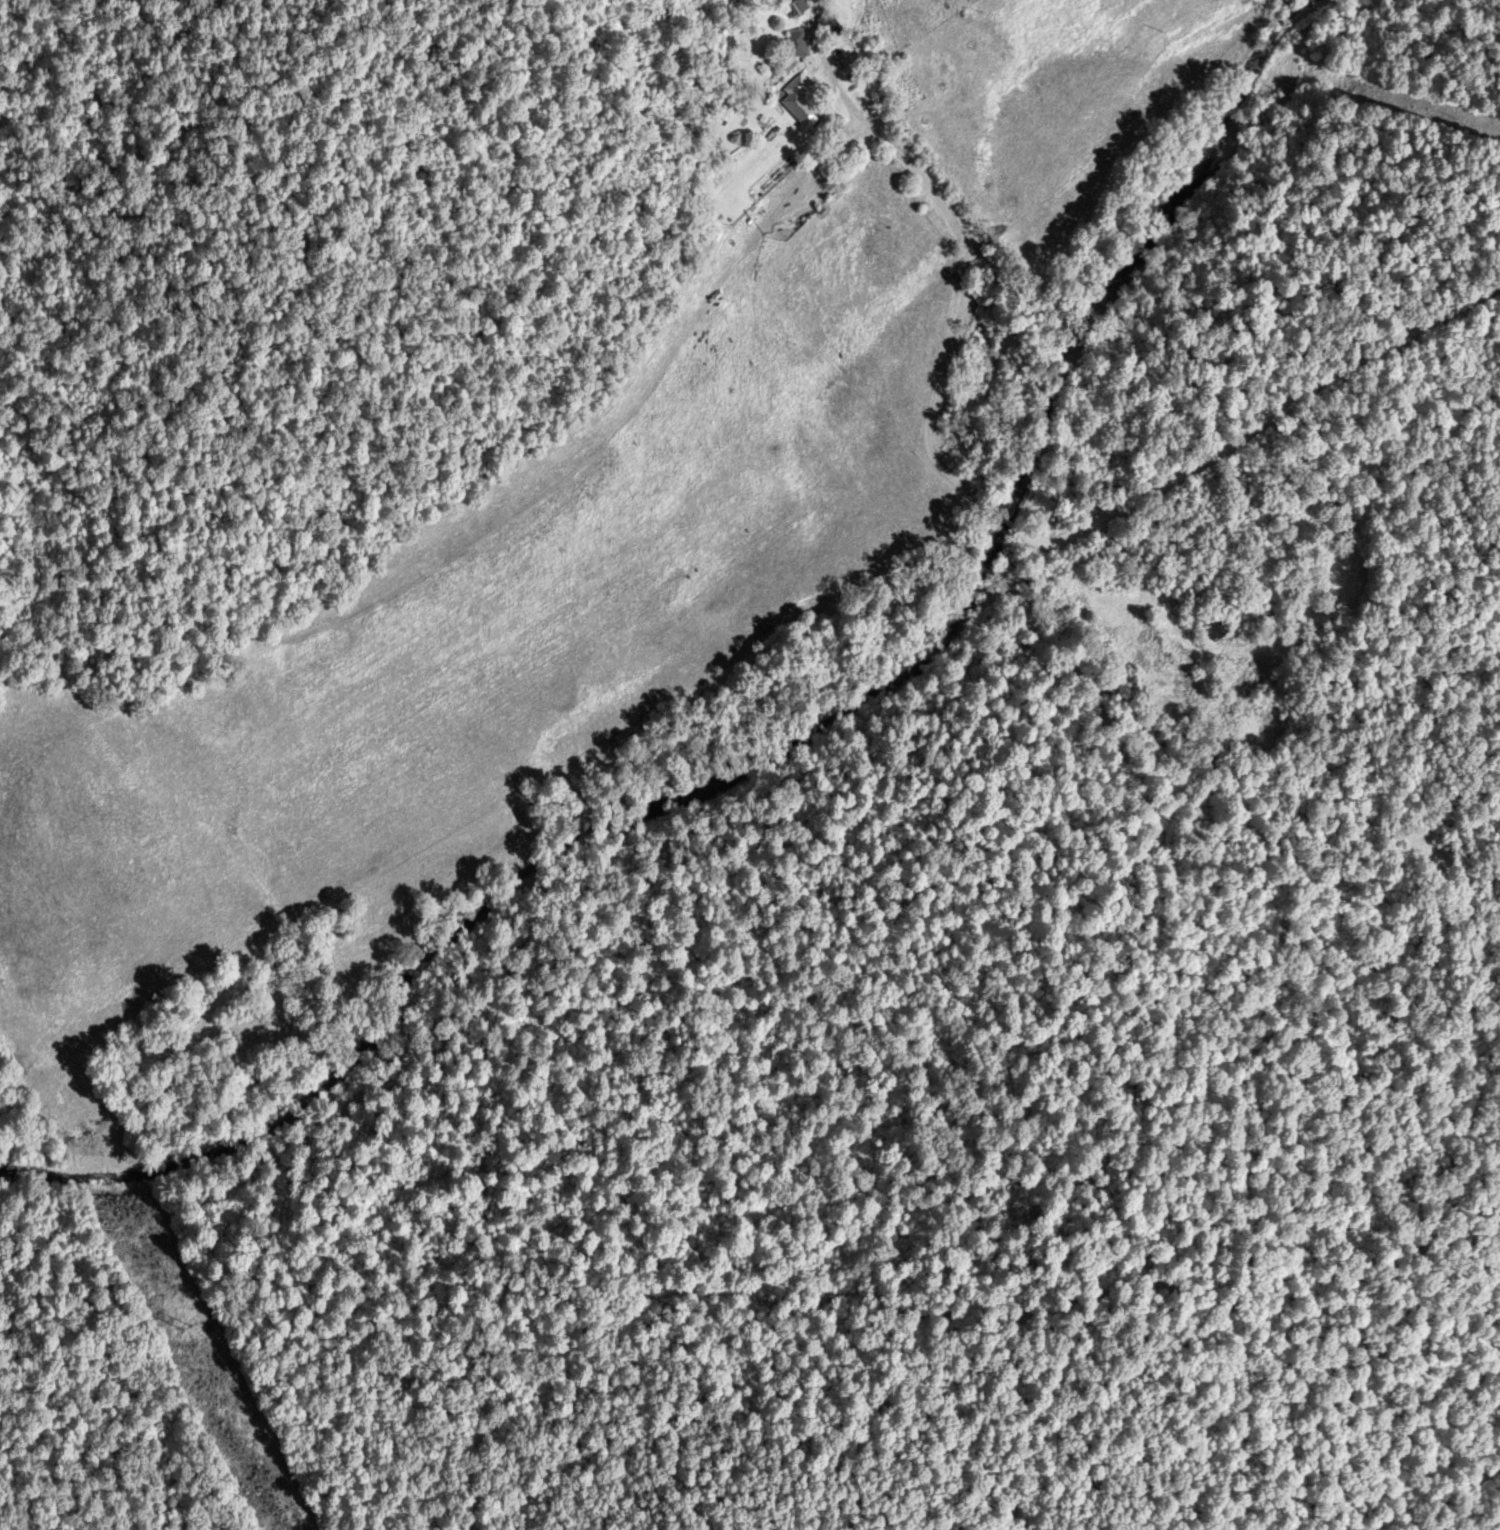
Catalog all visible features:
building: (827, 28)
building: (796, 46)
building: (799, 105)
road: (987, 509)
building: (1215, 630)

